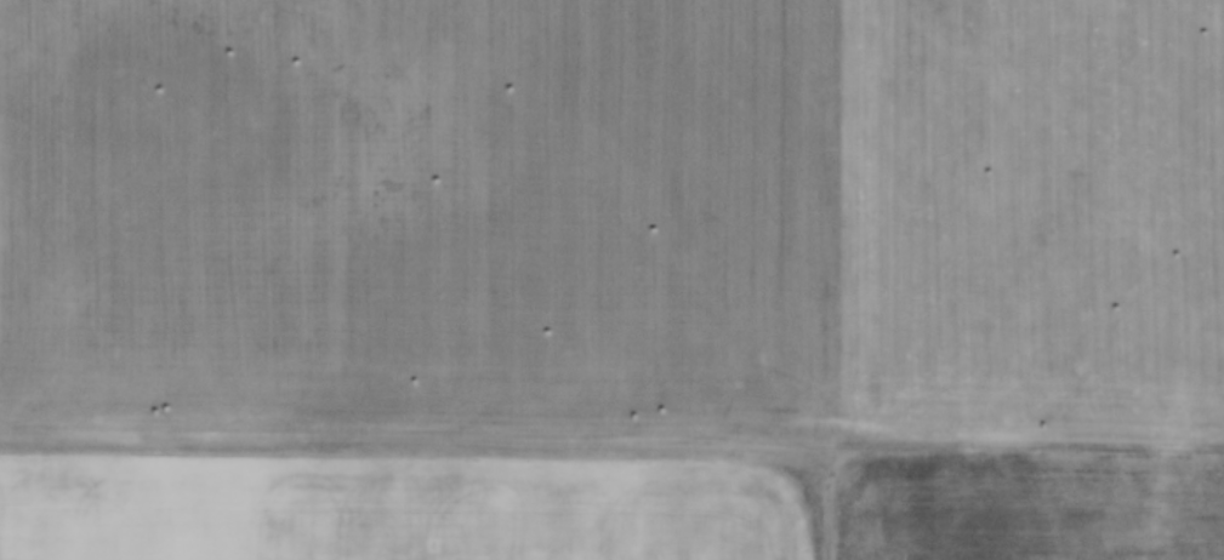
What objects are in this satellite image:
road: (837, 279)
road: (611, 427)

